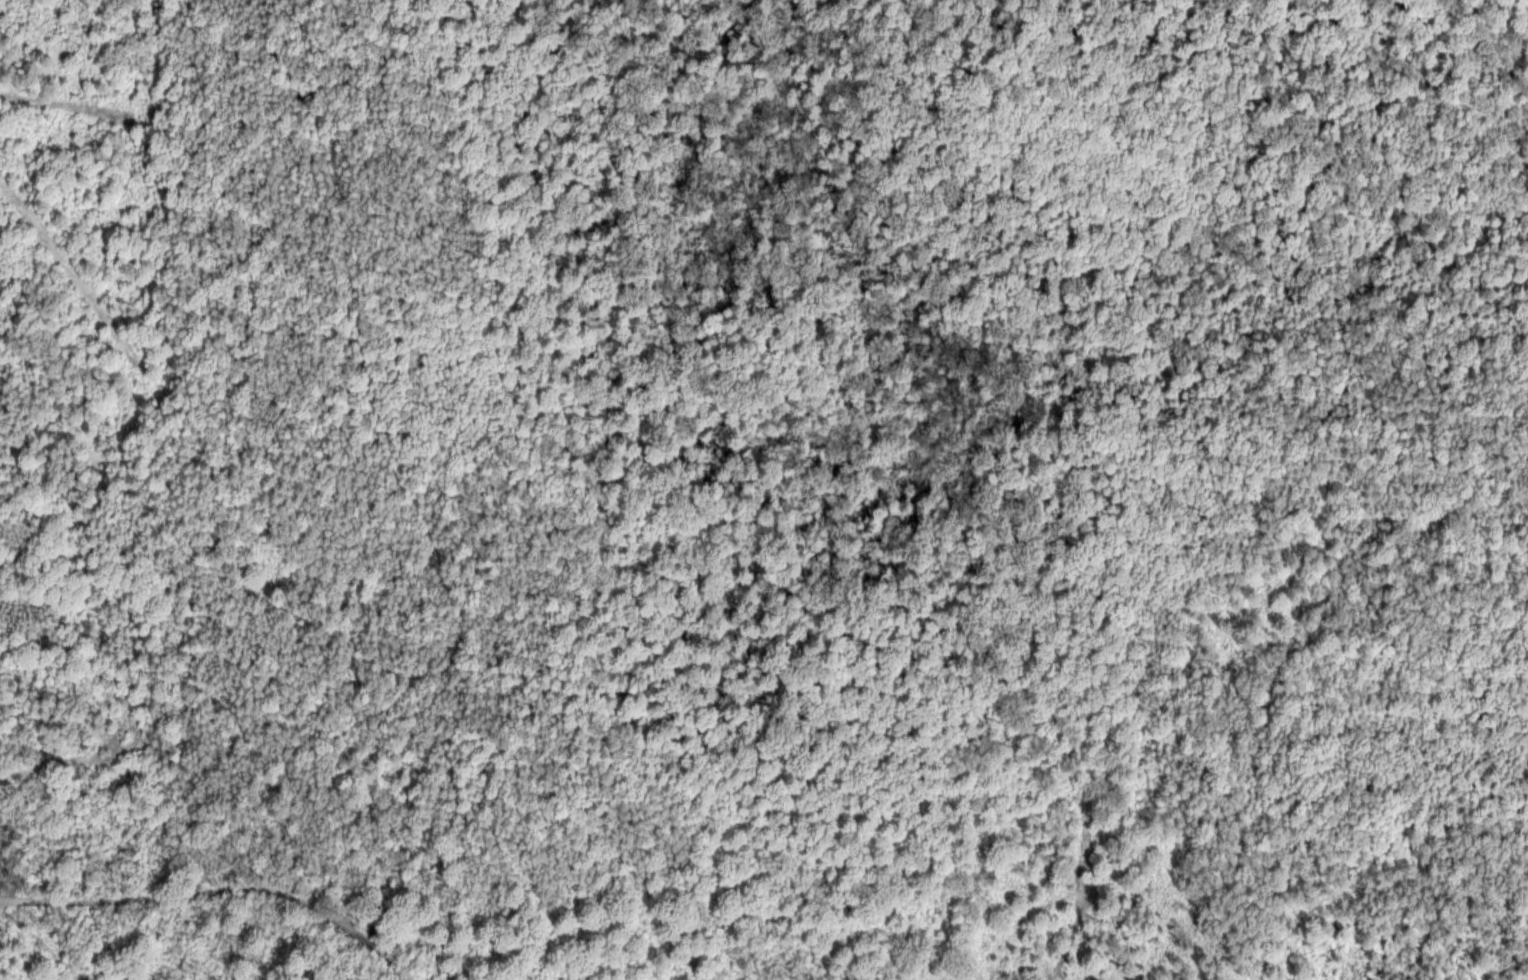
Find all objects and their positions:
road: (219, 888)

